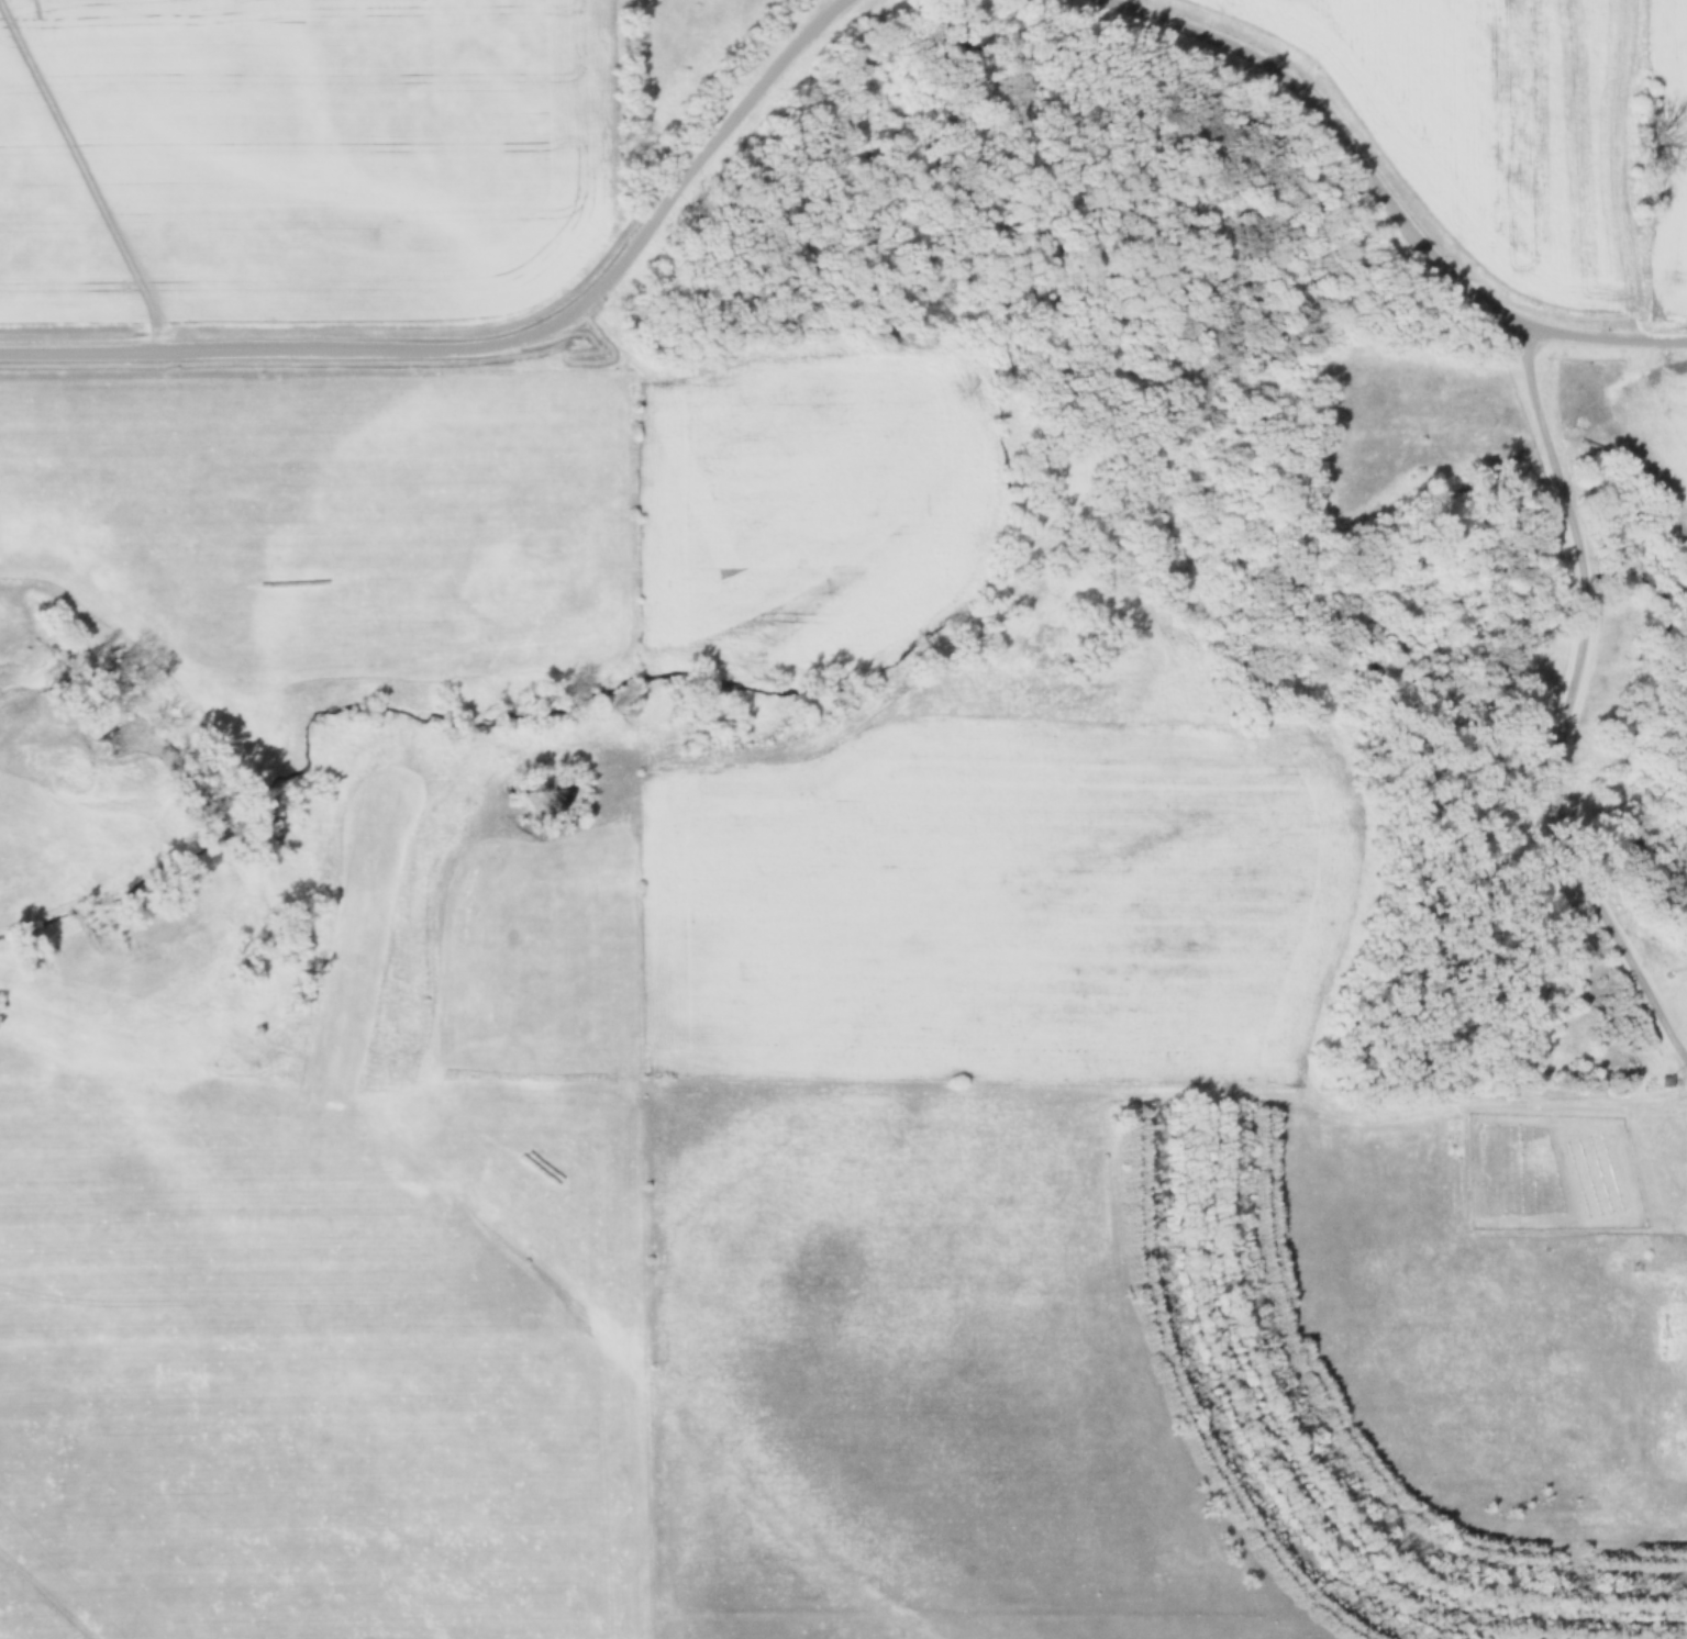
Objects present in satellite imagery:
road: (1397, 198)
road: (498, 343)
road: (1597, 679)
building: (1664, 1349)

